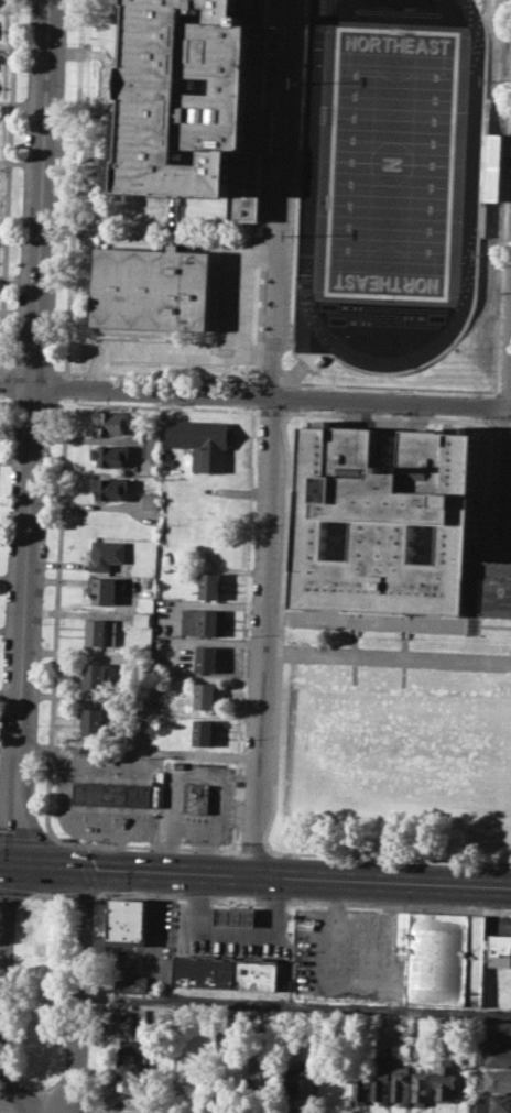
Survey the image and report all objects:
parking lot: (436, 2)
road: (101, 78)
building: (200, 100)
parking lot: (282, 173)
road: (8, 186)
road: (75, 188)
road: (501, 198)
track: (465, 207)
road: (152, 232)
building: (154, 288)
road: (258, 310)
road: (4, 369)
road: (32, 369)
road: (156, 375)
road: (0, 378)
road: (269, 381)
road: (66, 385)
road: (388, 386)
road: (504, 390)
road: (254, 394)
road: (254, 394)
road: (510, 395)
road: (3, 399)
road: (28, 400)
road: (154, 406)
road: (488, 406)
road: (273, 411)
road: (289, 411)
road: (501, 419)
building: (113, 421)
road: (490, 423)
road: (33, 433)
road: (510, 435)
road: (271, 437)
building: (202, 440)
building: (152, 443)
building: (110, 454)
building: (168, 458)
road: (505, 476)
building: (109, 487)
parking lot: (501, 489)
road: (491, 493)
building: (150, 499)
building: (108, 521)
building: (393, 527)
road: (284, 532)
building: (105, 554)
building: (209, 585)
building: (102, 589)
building: (145, 603)
road: (56, 618)
building: (141, 620)
road: (387, 620)
building: (203, 622)
road: (243, 626)
building: (99, 632)
road: (352, 652)
road: (403, 653)
building: (206, 657)
building: (94, 675)
building: (204, 695)
building: (93, 720)
building: (204, 731)
road: (129, 751)
park: (395, 753)
building: (112, 793)
building: (197, 797)
road: (26, 839)
road: (144, 845)
road: (252, 851)
road: (389, 856)
road: (3, 865)
traffic signals: (8, 866)
road: (88, 868)
traffic signals: (83, 870)
road: (259, 875)
road: (14, 892)
road: (42, 894)
road: (74, 894)
road: (302, 902)
building: (236, 915)
gas station: (236, 915)
building: (128, 920)
road: (3, 946)
building: (499, 949)
building: (444, 953)
building: (257, 973)
building: (132, 983)
road: (0, 986)
road: (78, 994)
road: (102, 1000)
road: (294, 1003)
building: (129, 1022)
building: (499, 1030)
building: (132, 1044)
building: (496, 1055)
building: (254, 1063)
building: (133, 1071)
building: (308, 1078)
building: (494, 1079)
building: (380, 1081)
building: (446, 1082)
building: (289, 1083)
building: (401, 1083)
building: (360, 1084)
building: (421, 1087)
road: (14, 1095)
building: (499, 1101)
road: (211, 1107)
road: (98, 1111)
road: (8, 1112)

